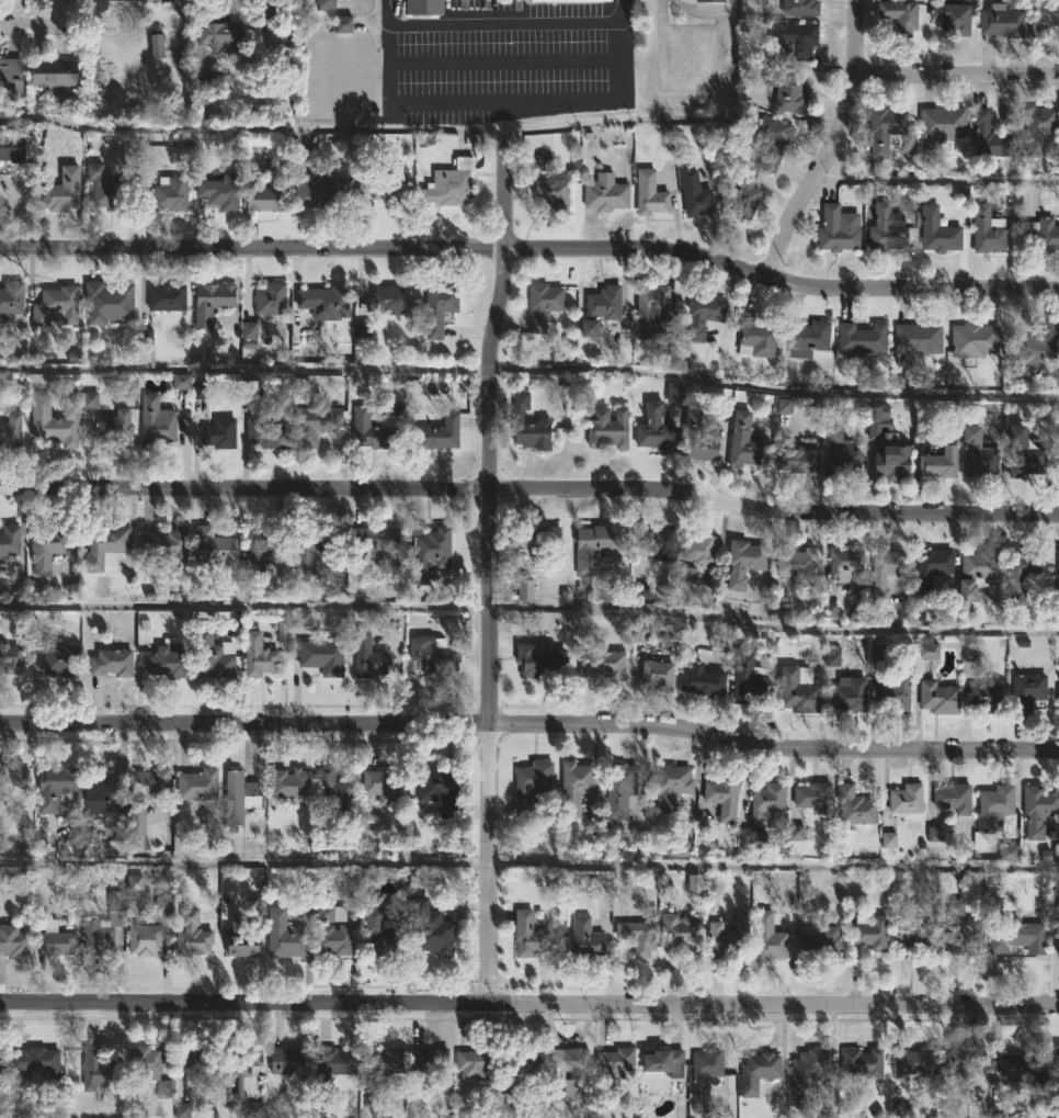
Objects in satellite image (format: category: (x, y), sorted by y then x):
building: (150, 0)
building: (569, 0)
building: (708, 0)
building: (326, 4)
building: (422, 7)
building: (801, 8)
road: (708, 11)
building: (901, 15)
building: (953, 16)
building: (1045, 18)
building: (1002, 21)
road: (33, 23)
road: (491, 23)
building: (343, 24)
building: (218, 34)
building: (796, 39)
building: (156, 46)
road: (493, 59)
building: (54, 72)
road: (955, 75)
building: (10, 76)
building: (787, 90)
road: (494, 99)
building: (940, 124)
building: (886, 129)
building: (1038, 129)
building: (989, 137)
building: (771, 139)
road: (830, 144)
building: (3, 156)
building: (543, 162)
building: (384, 183)
building: (451, 183)
building: (317, 184)
building: (104, 189)
building: (62, 191)
building: (221, 191)
building: (553, 193)
building: (606, 193)
building: (650, 193)
building: (695, 194)
building: (166, 195)
building: (267, 195)
building: (745, 196)
building: (836, 228)
building: (887, 229)
building: (938, 230)
building: (988, 230)
building: (1043, 234)
road: (531, 246)
building: (11, 297)
building: (166, 298)
building: (388, 300)
building: (269, 301)
building: (107, 302)
building: (324, 302)
building: (604, 302)
building: (212, 303)
building: (543, 305)
building: (56, 306)
building: (439, 307)
building: (650, 307)
building: (703, 314)
building: (362, 328)
building: (589, 328)
building: (249, 335)
building: (145, 336)
building: (755, 336)
building: (807, 337)
building: (862, 338)
building: (918, 341)
building: (975, 341)
building: (1034, 346)
building: (181, 381)
road: (774, 388)
building: (201, 391)
building: (674, 392)
building: (90, 399)
building: (786, 410)
building: (156, 422)
building: (316, 424)
building: (52, 425)
building: (529, 425)
building: (115, 428)
building: (608, 428)
building: (654, 429)
building: (9, 430)
building: (220, 432)
building: (373, 432)
building: (437, 433)
building: (265, 434)
building: (698, 439)
building: (743, 442)
building: (840, 453)
building: (1025, 454)
building: (978, 455)
building: (1058, 458)
building: (892, 459)
building: (798, 460)
building: (941, 462)
road: (529, 489)
building: (538, 538)
building: (375, 539)
building: (10, 541)
building: (661, 544)
building: (594, 545)
building: (106, 546)
building: (306, 546)
building: (167, 547)
building: (260, 547)
building: (46, 550)
building: (215, 551)
building: (699, 551)
building: (429, 554)
building: (744, 563)
building: (797, 564)
building: (847, 566)
building: (932, 568)
building: (976, 574)
building: (686, 575)
building: (885, 575)
building: (1022, 575)
road: (490, 576)
building: (1058, 587)
building: (524, 589)
building: (640, 591)
road: (246, 603)
building: (828, 610)
building: (300, 618)
road: (774, 624)
building: (282, 626)
building: (640, 634)
building: (927, 648)
building: (877, 653)
building: (970, 653)
building: (433, 655)
building: (832, 655)
building: (11, 656)
building: (54, 656)
building: (216, 656)
building: (258, 656)
building: (322, 657)
building: (367, 657)
building: (539, 662)
building: (112, 663)
building: (170, 663)
building: (602, 663)
building: (658, 675)
building: (704, 676)
building: (749, 677)
building: (1027, 688)
building: (796, 692)
building: (895, 694)
building: (850, 696)
building: (940, 698)
building: (986, 698)
building: (1058, 705)
road: (529, 727)
building: (13, 780)
building: (149, 781)
building: (289, 782)
building: (531, 783)
building: (197, 784)
building: (379, 786)
building: (431, 787)
building: (671, 787)
building: (55, 788)
building: (574, 788)
building: (619, 788)
building: (332, 791)
building: (106, 794)
building: (239, 797)
building: (724, 797)
building: (815, 797)
building: (907, 798)
building: (955, 798)
building: (994, 806)
building: (854, 808)
building: (1039, 809)
building: (764, 814)
building: (136, 820)
building: (796, 833)
building: (935, 834)
building: (888, 840)
building: (677, 847)
building: (1007, 852)
road: (246, 860)
road: (774, 862)
building: (134, 882)
building: (694, 883)
building: (600, 888)
building: (991, 895)
building: (163, 904)
building: (331, 913)
building: (104, 924)
building: (430, 928)
building: (961, 930)
building: (870, 931)
building: (192, 934)
building: (528, 934)
building: (284, 935)
building: (379, 935)
building: (639, 936)
building: (1020, 936)
building: (913, 937)
building: (333, 938)
building: (585, 938)
building: (145, 939)
building: (684, 939)
building: (13, 940)
building: (728, 941)
building: (1058, 941)
building: (55, 942)
building: (822, 942)
building: (239, 944)
road: (529, 1004)
building: (662, 1059)
building: (960, 1059)
building: (291, 1060)
building: (616, 1060)
building: (429, 1061)
building: (34, 1062)
building: (863, 1062)
building: (913, 1062)
building: (1058, 1062)
building: (475, 1063)
building: (1023, 1063)
building: (332, 1064)
building: (527, 1064)
building: (200, 1065)
building: (149, 1069)
building: (96, 1070)
building: (705, 1071)
building: (758, 1071)
building: (382, 1073)
building: (559, 1074)
building: (807, 1074)
building: (1058, 1079)
building: (238, 1084)
building: (182, 1110)

